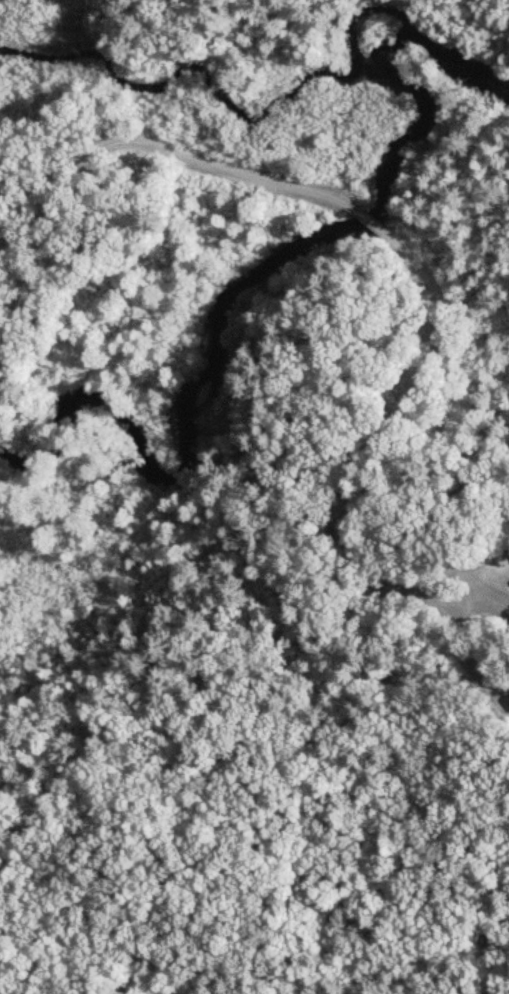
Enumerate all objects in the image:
road: (157, 150)
road: (368, 219)
road: (366, 450)

